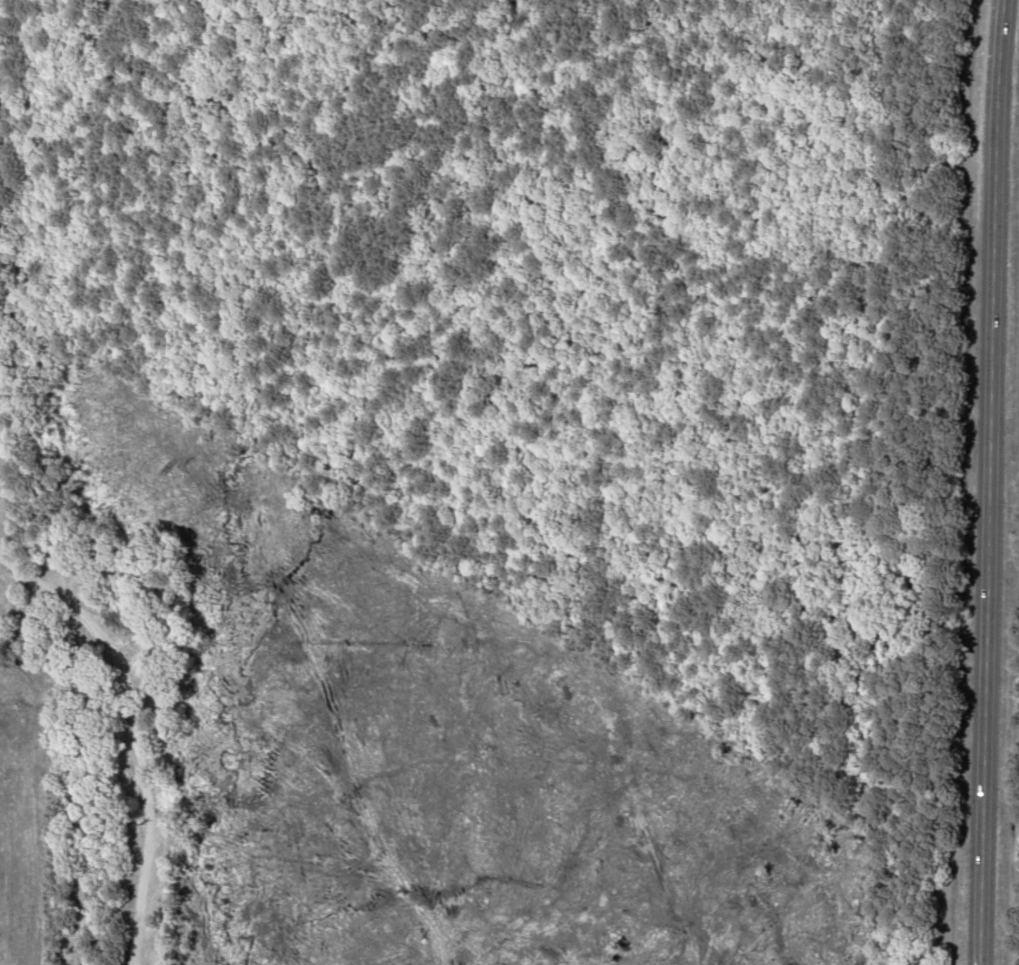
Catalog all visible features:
road: (987, 482)

